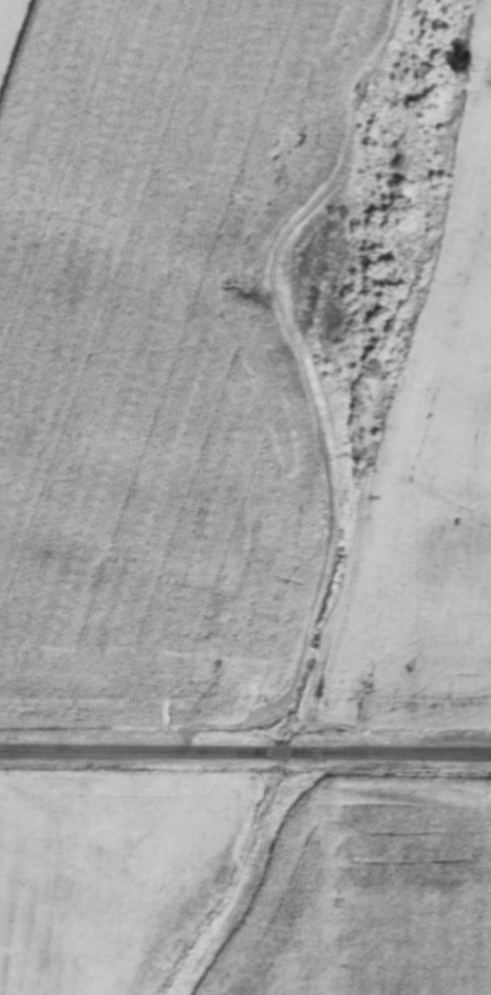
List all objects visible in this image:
road: (100, 755)
road: (386, 757)
road: (241, 758)

